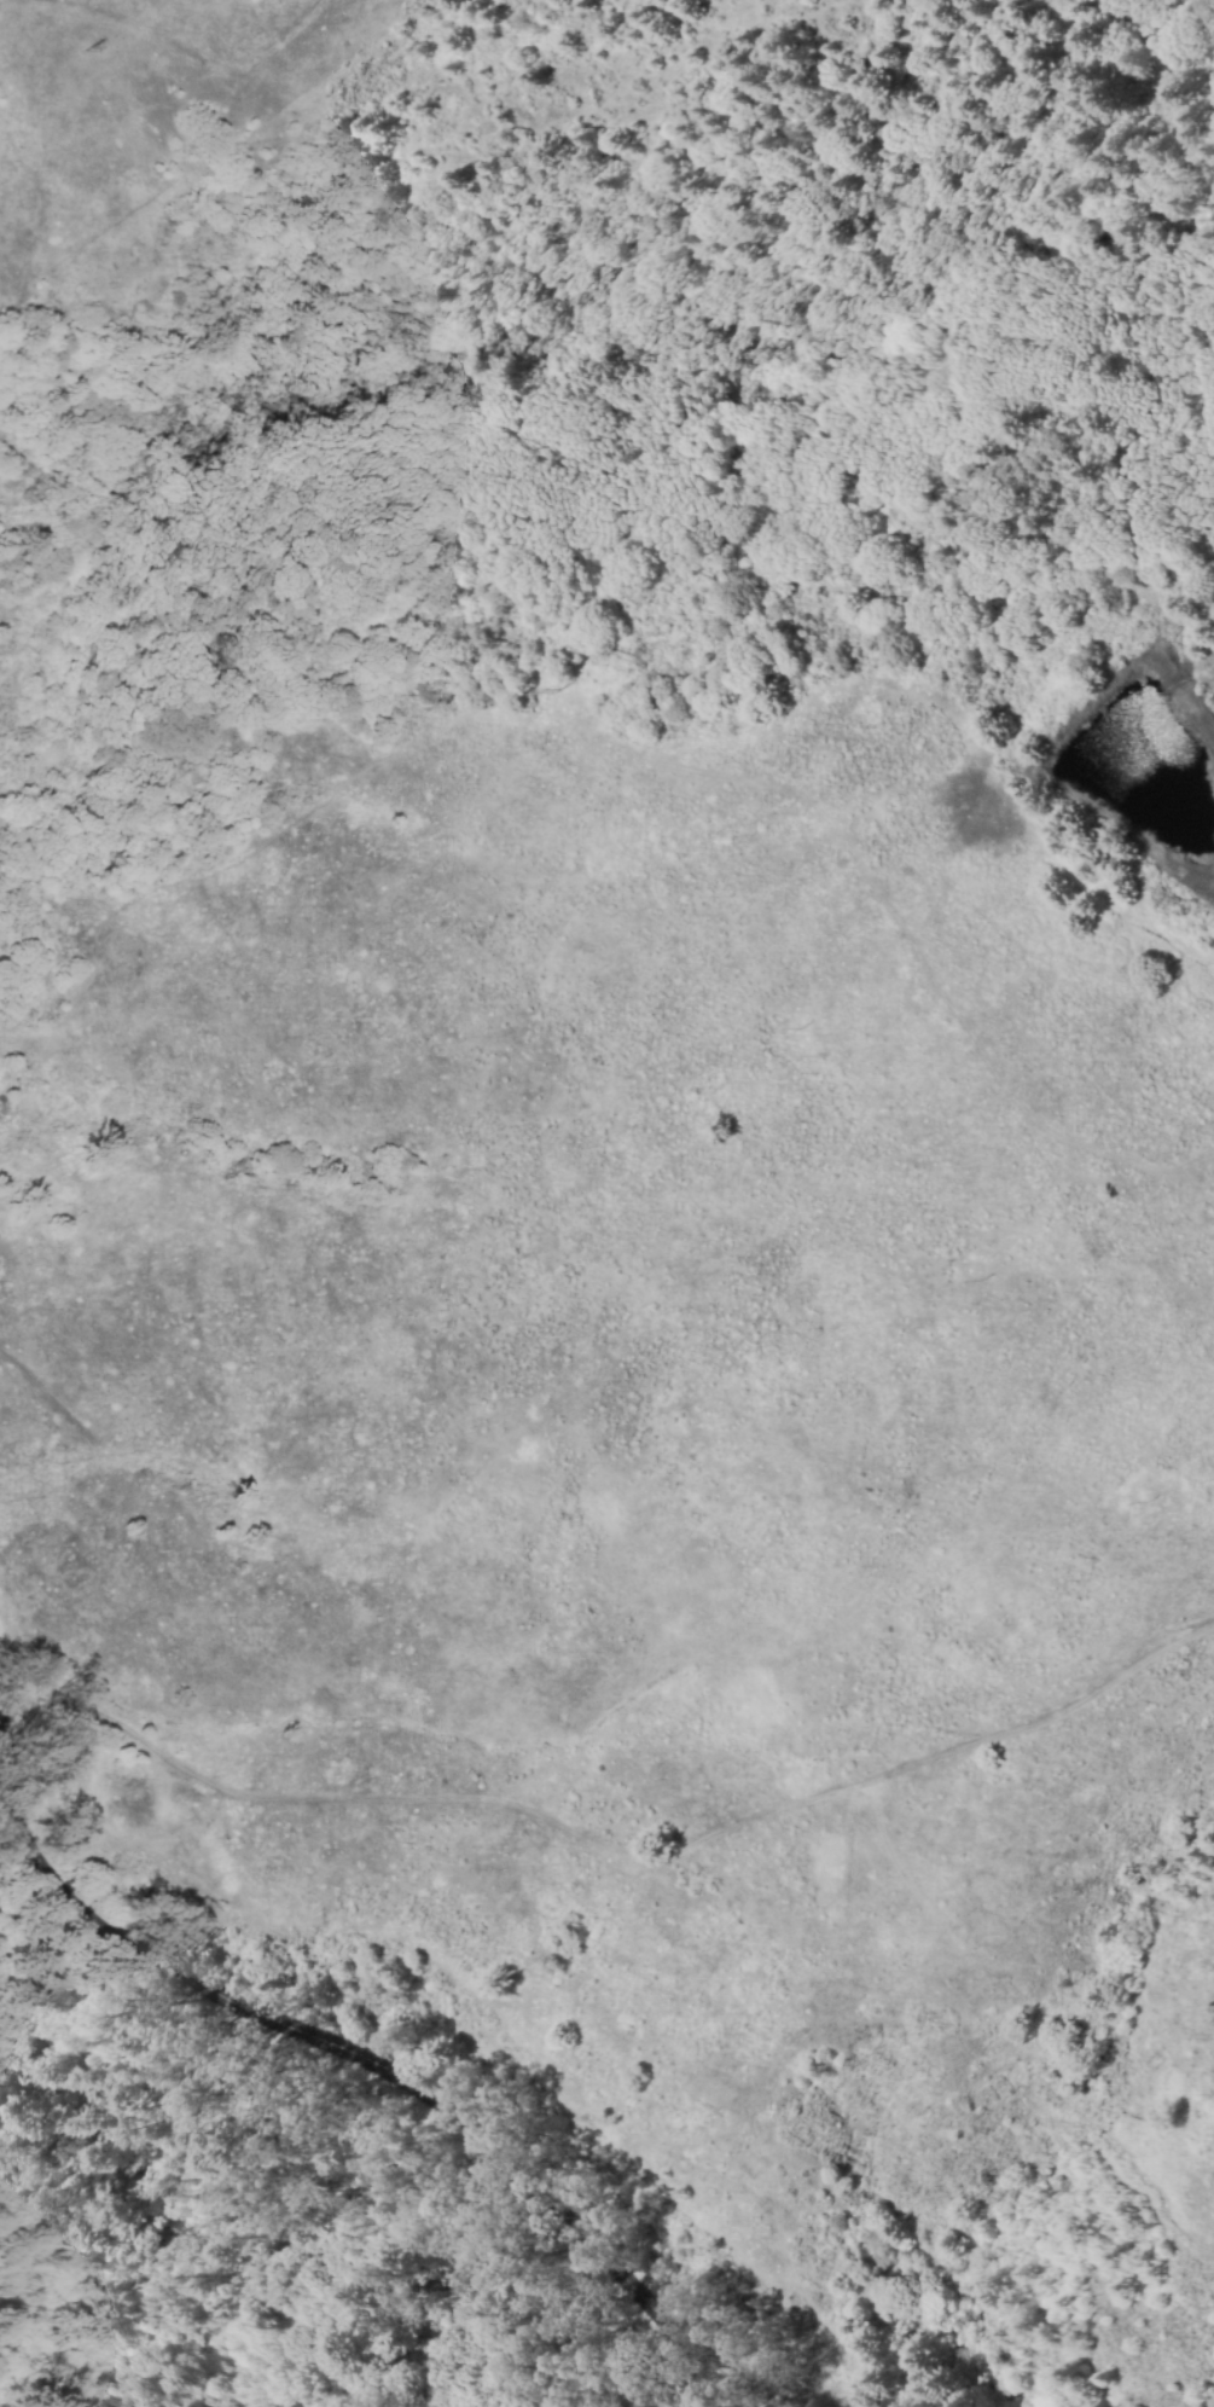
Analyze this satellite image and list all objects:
road: (348, 2057)

